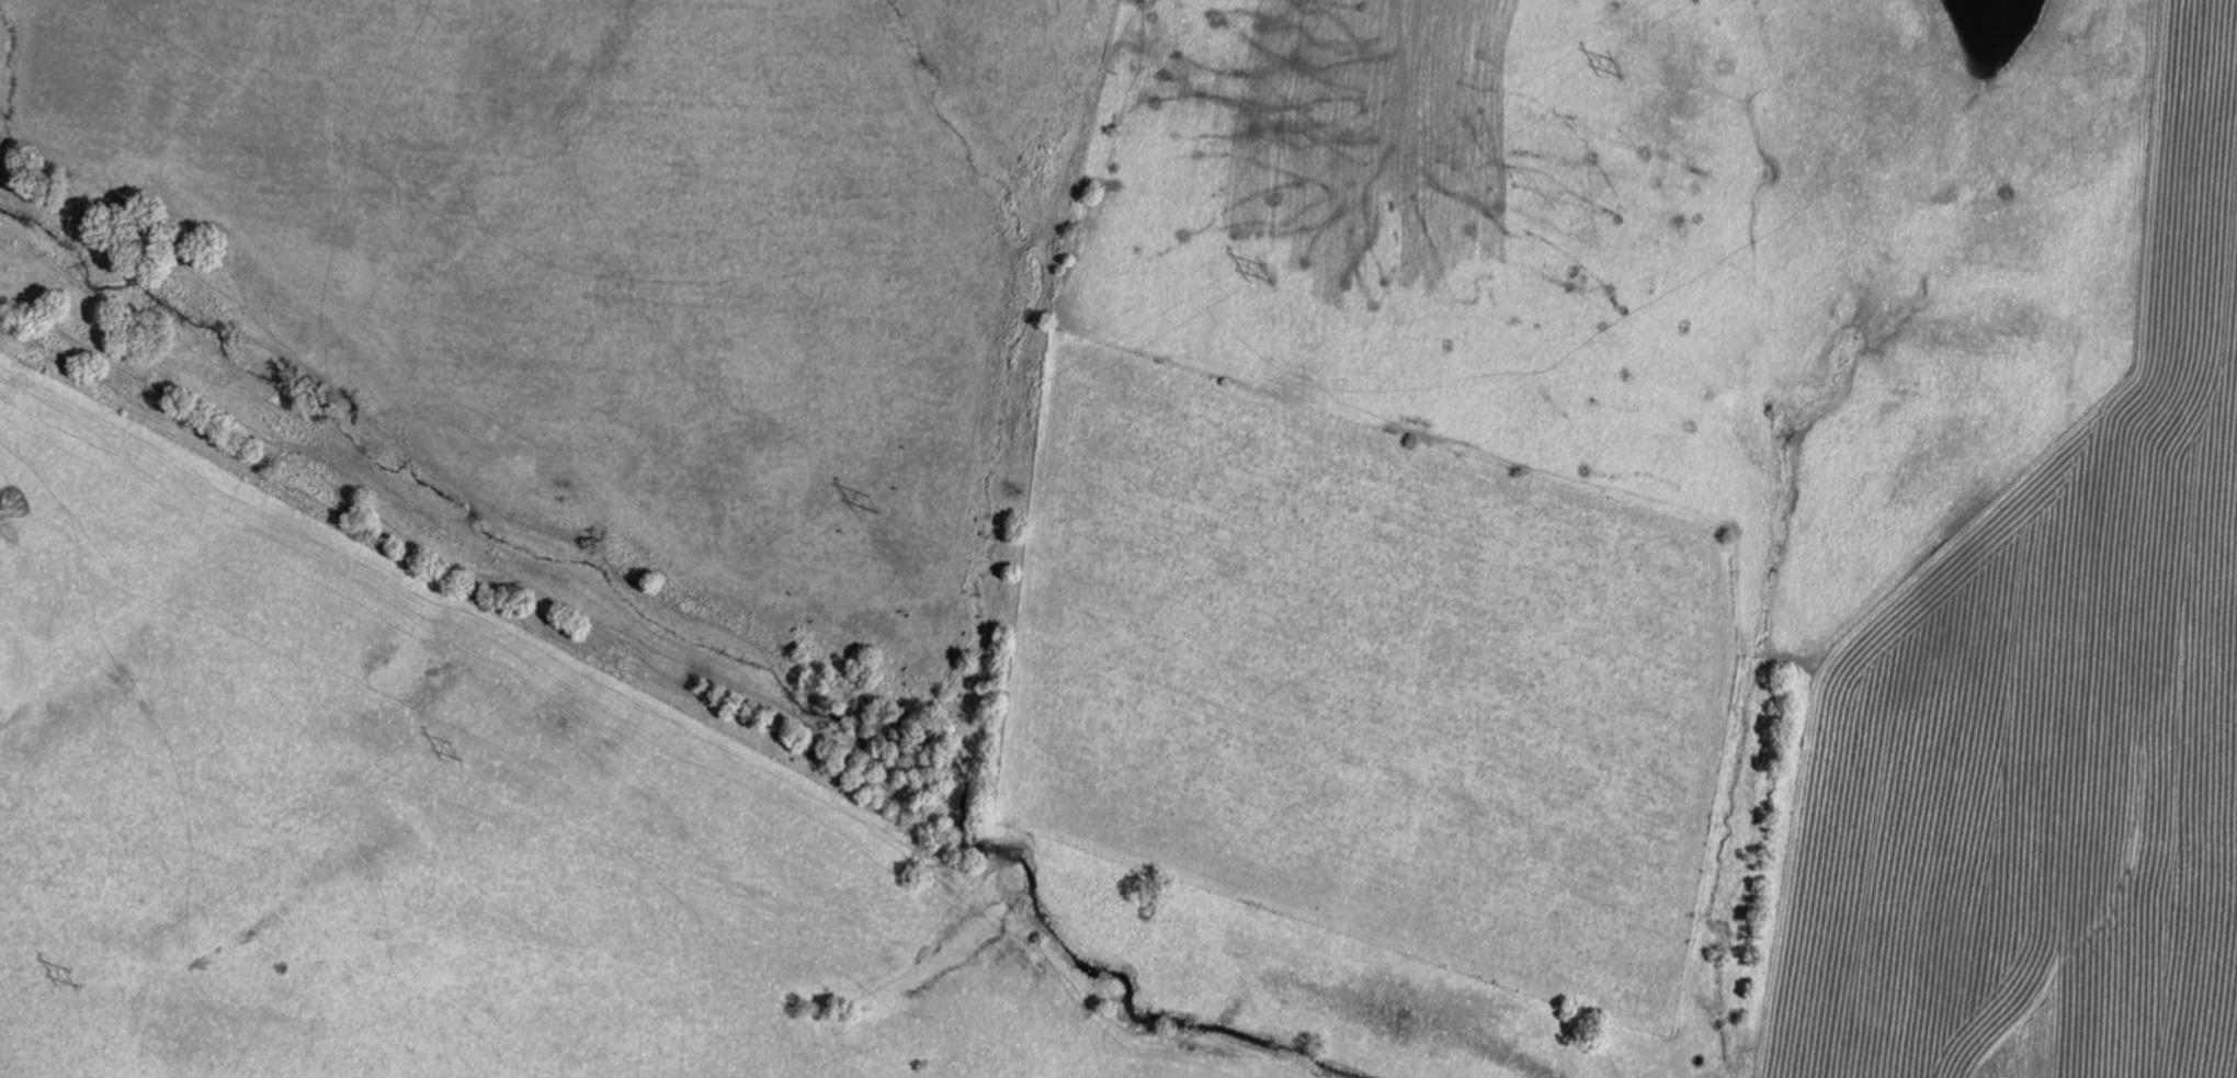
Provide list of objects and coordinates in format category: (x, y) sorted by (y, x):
power tower: (1614, 68)
power tower: (1267, 272)
power tower: (873, 503)
power tower: (457, 750)
power tower: (72, 977)

